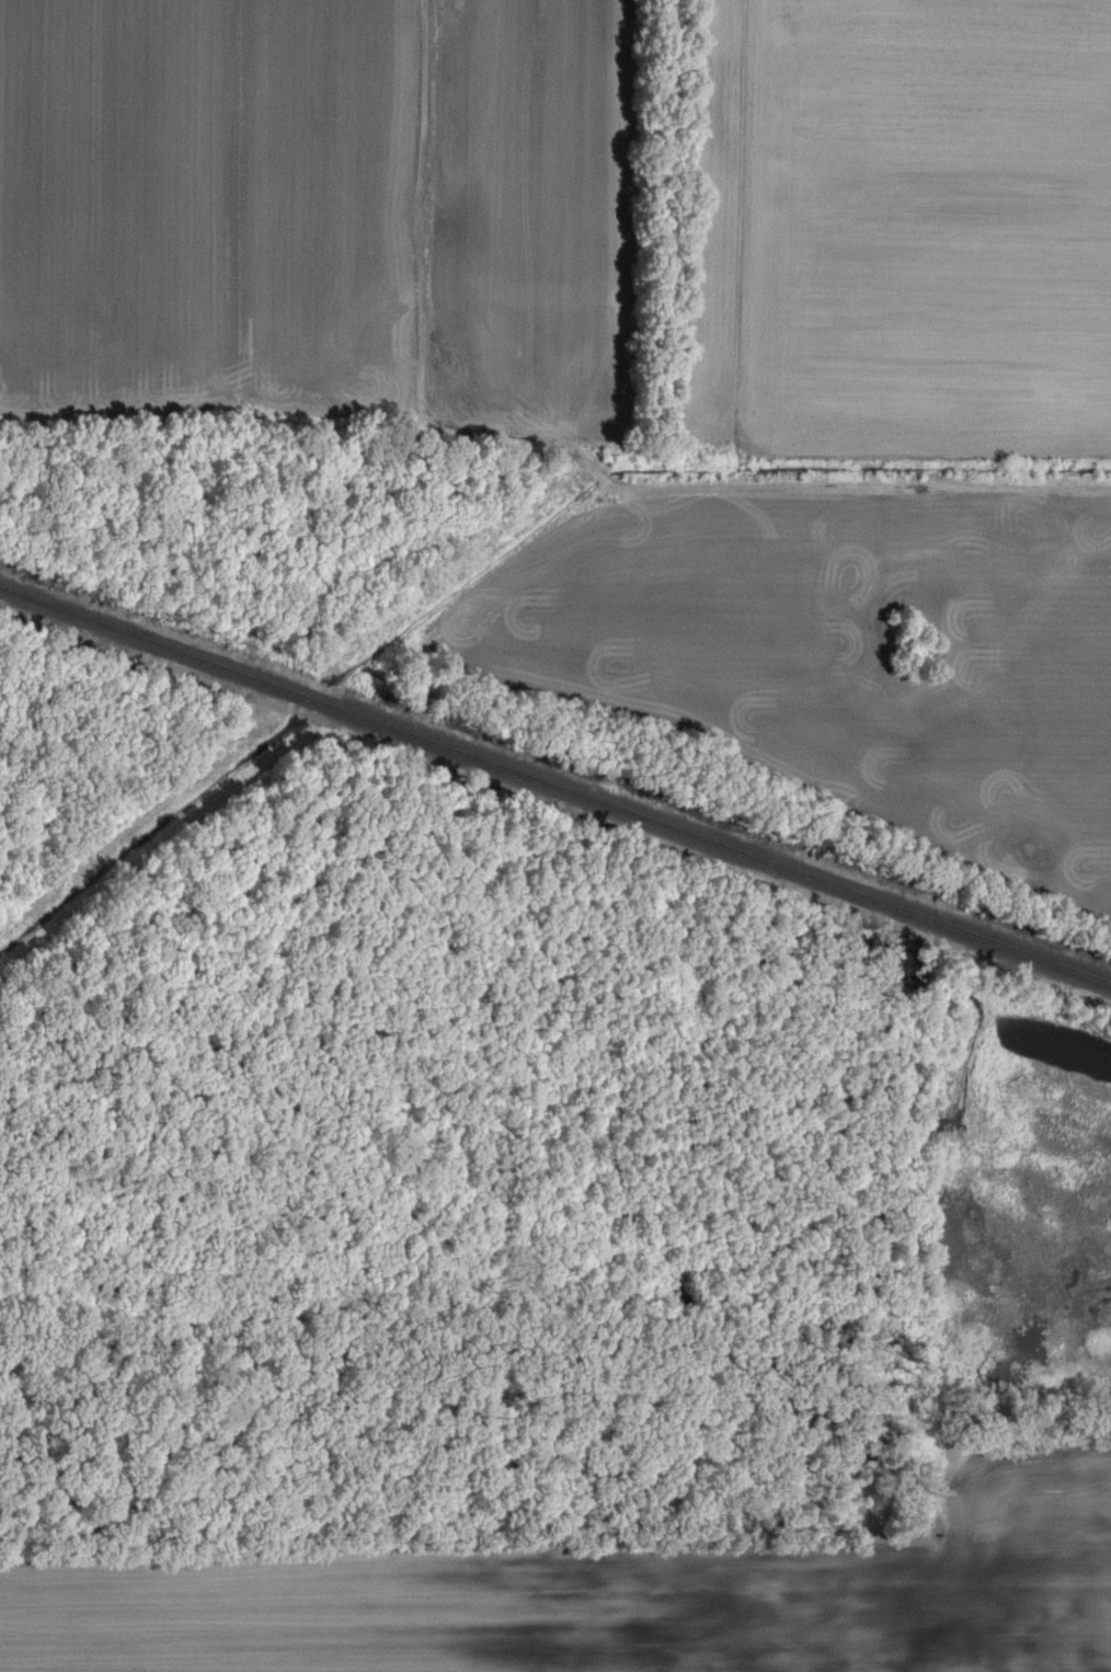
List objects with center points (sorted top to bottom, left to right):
road: (415, 210)
road: (561, 445)
railway: (555, 782)

